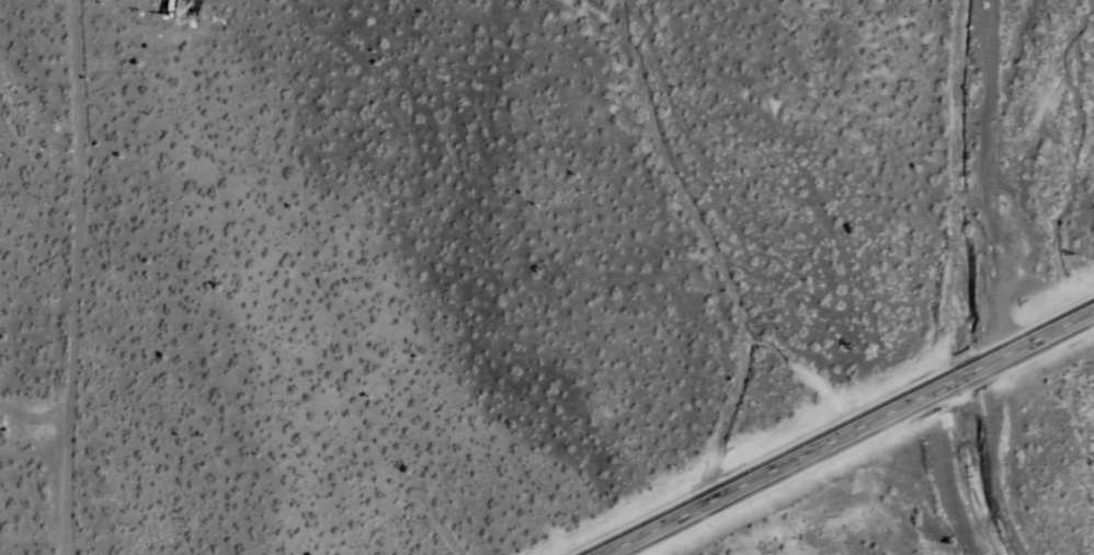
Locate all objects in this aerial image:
road: (1010, 176)
road: (78, 277)
road: (846, 431)

